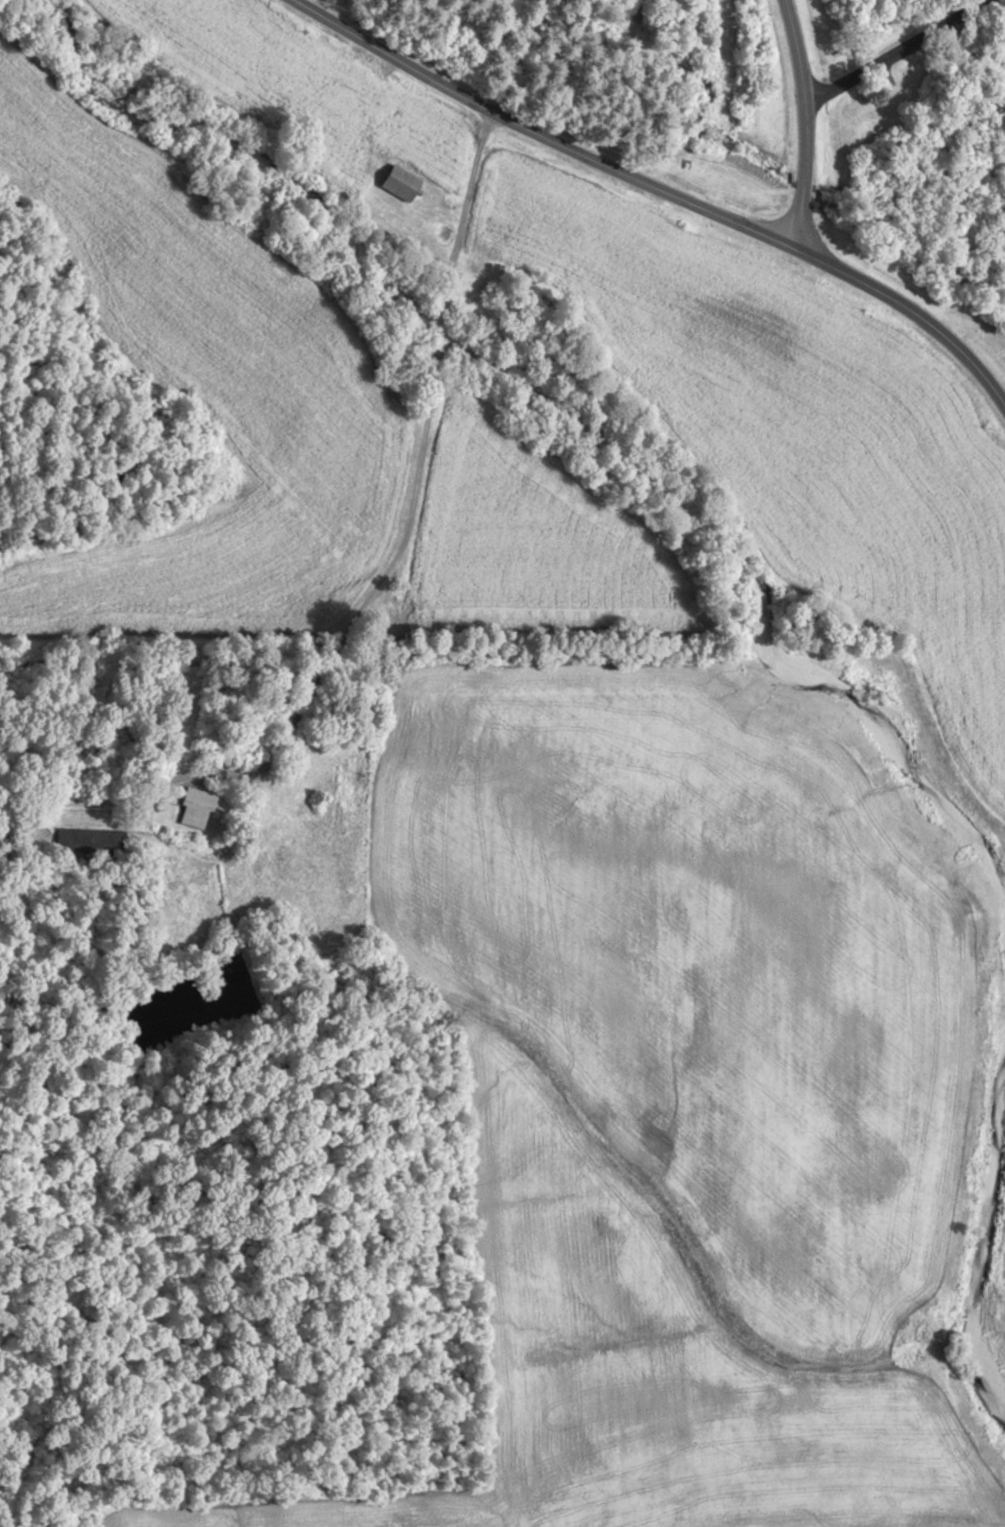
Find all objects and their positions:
road: (892, 54)
park: (801, 100)
road: (805, 122)
road: (540, 135)
building: (402, 183)
road: (914, 310)
road: (379, 584)
building: (197, 807)
building: (89, 841)

